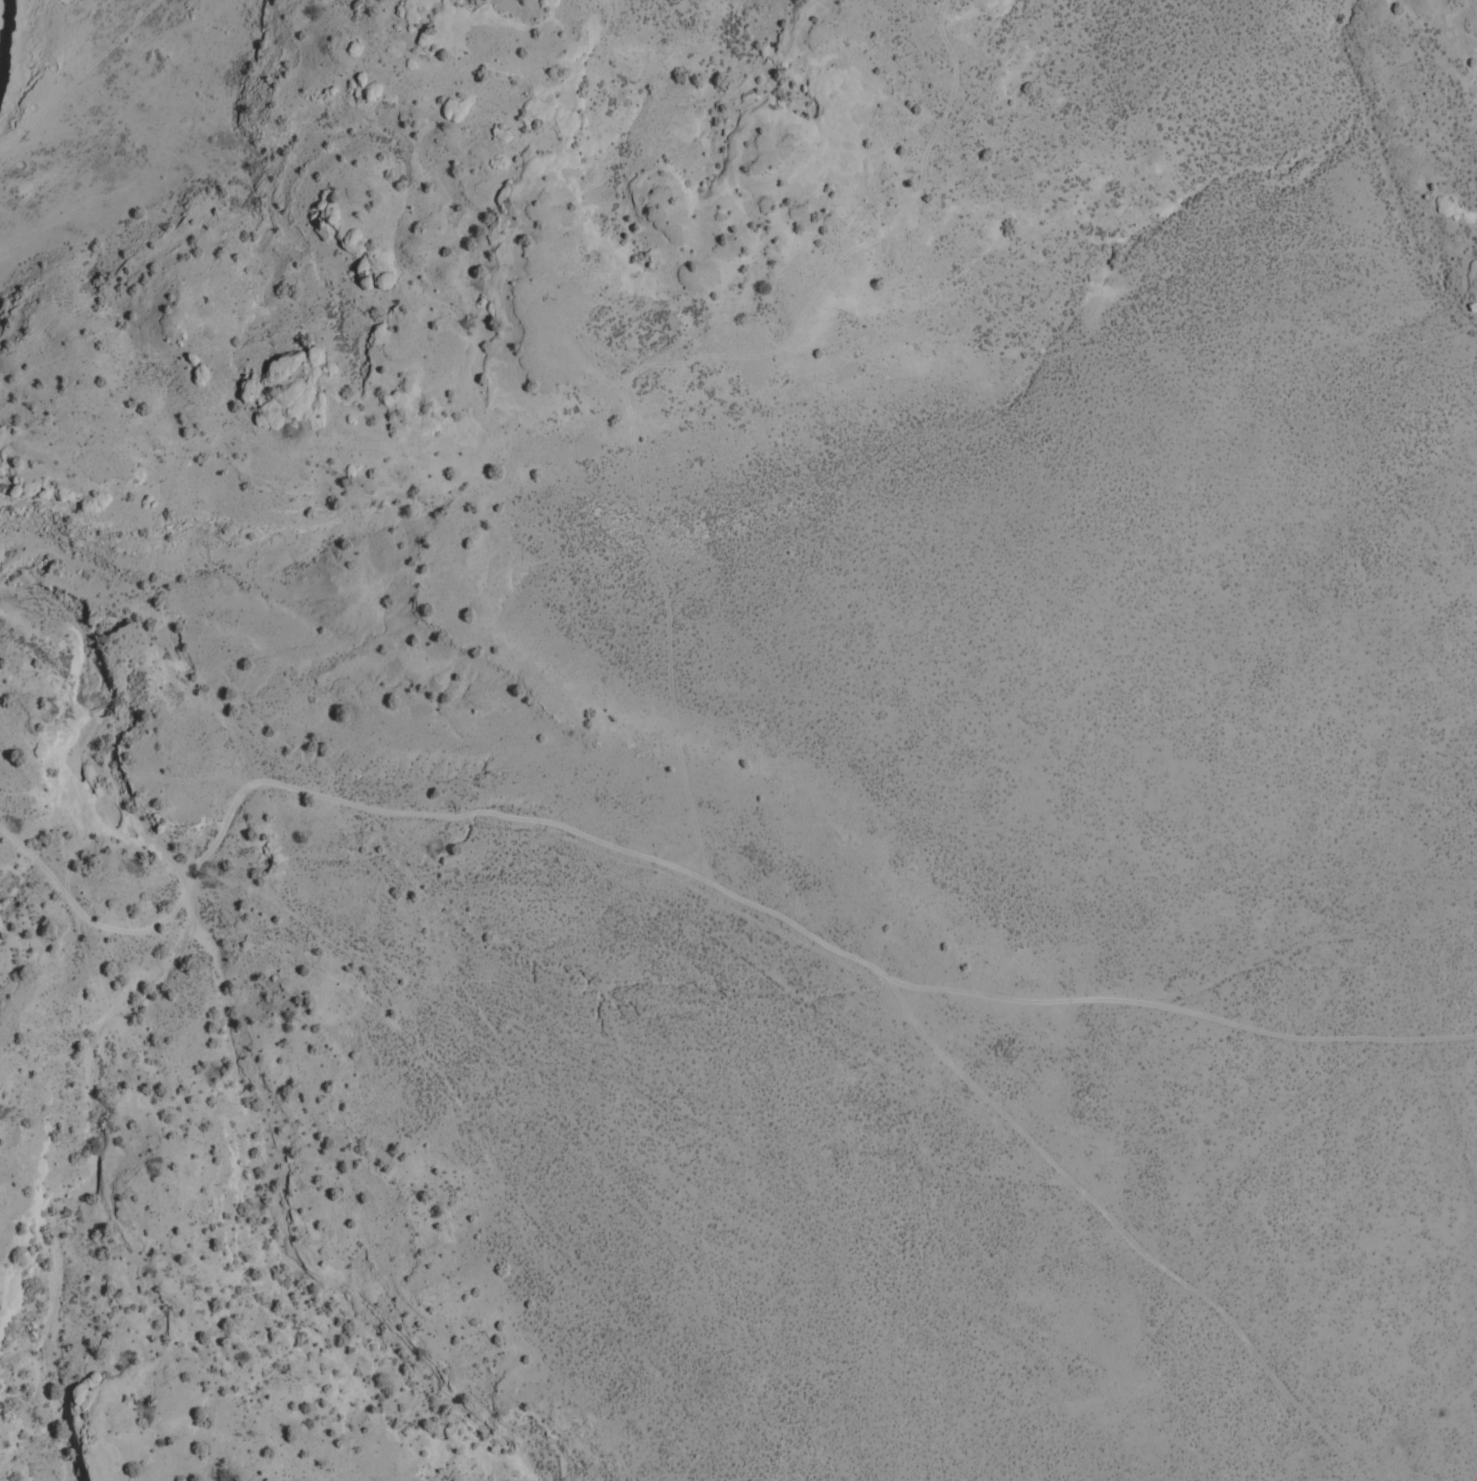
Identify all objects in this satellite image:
road: (578, 1237)

